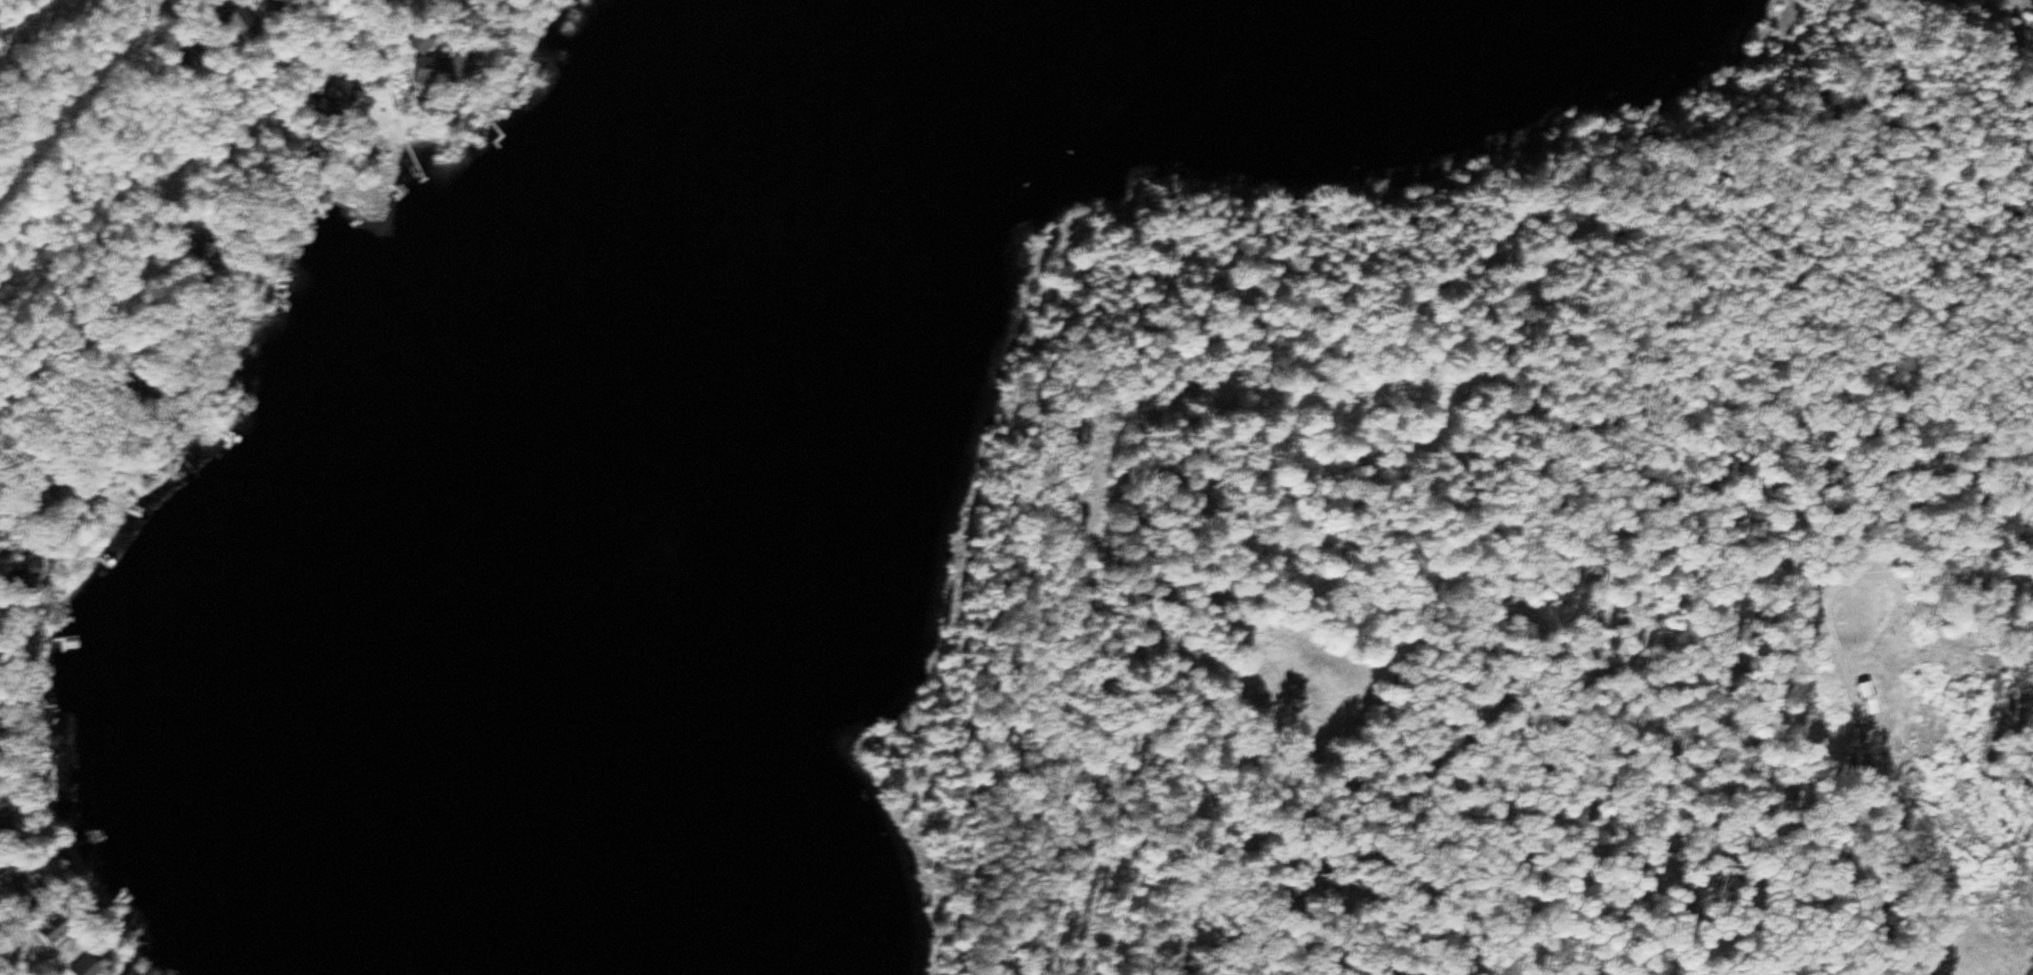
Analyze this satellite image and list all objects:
building: (276, 7)
building: (247, 25)
road: (39, 28)
building: (440, 64)
building: (346, 95)
road: (202, 200)
road: (1815, 499)
building: (36, 572)
road: (1920, 578)
building: (1862, 696)
building: (8, 820)
building: (17, 885)
building: (58, 929)
building: (95, 967)

